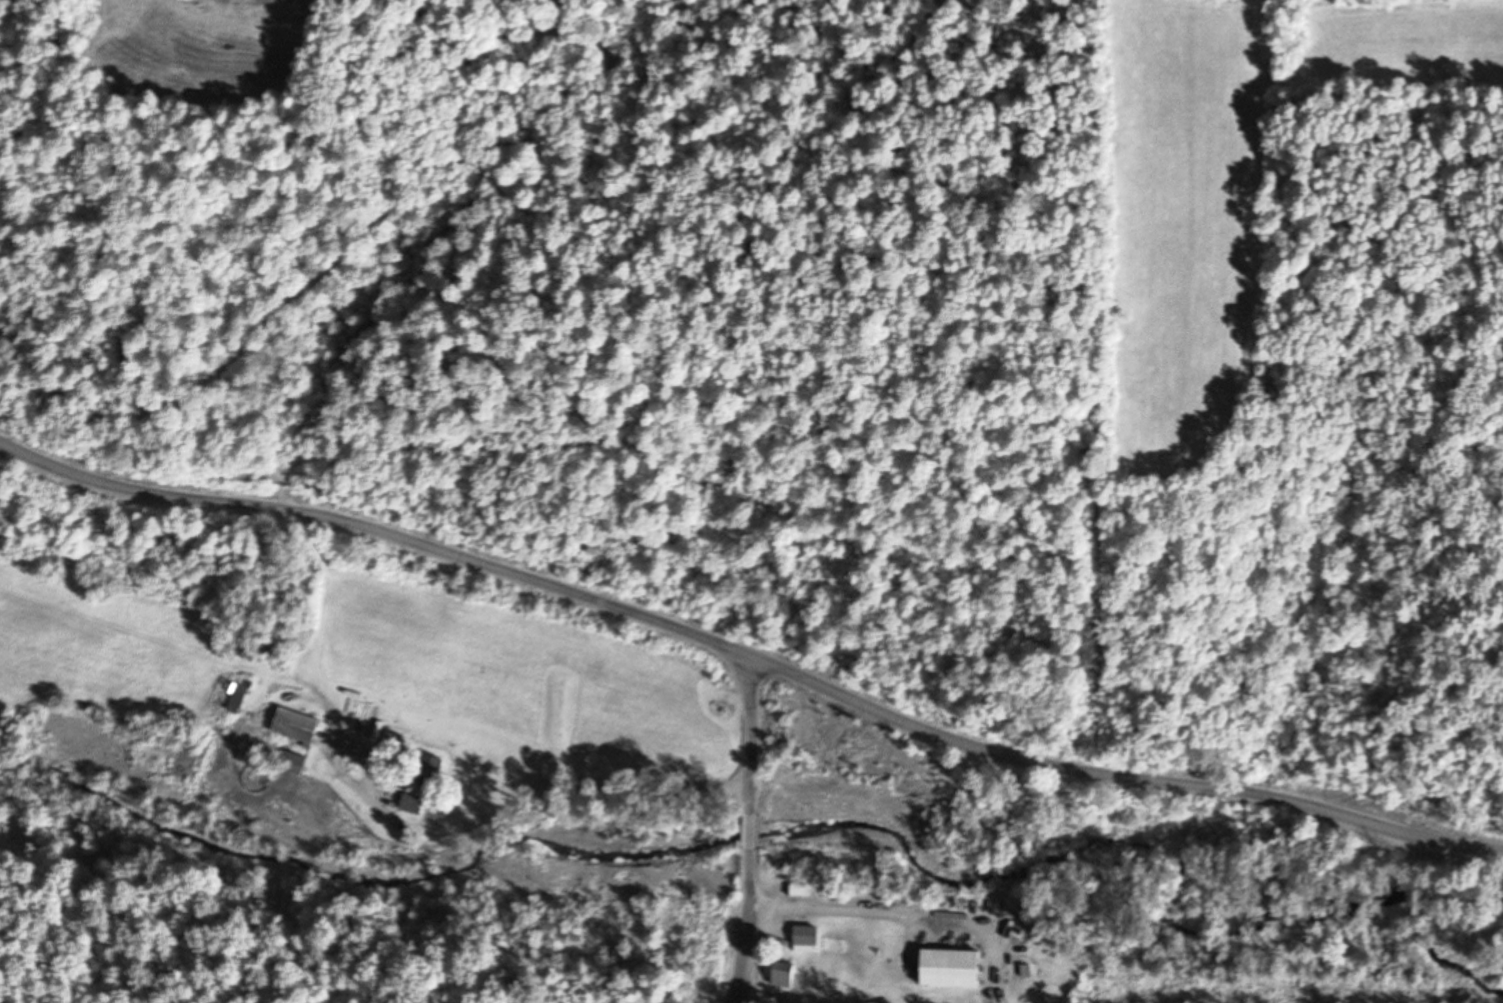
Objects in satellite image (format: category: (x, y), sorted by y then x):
road: (750, 659)
building: (236, 699)
building: (293, 726)
building: (289, 762)
building: (427, 770)
building: (410, 804)
road: (751, 830)
road: (381, 831)
building: (803, 940)
building: (780, 975)
building: (1023, 975)

